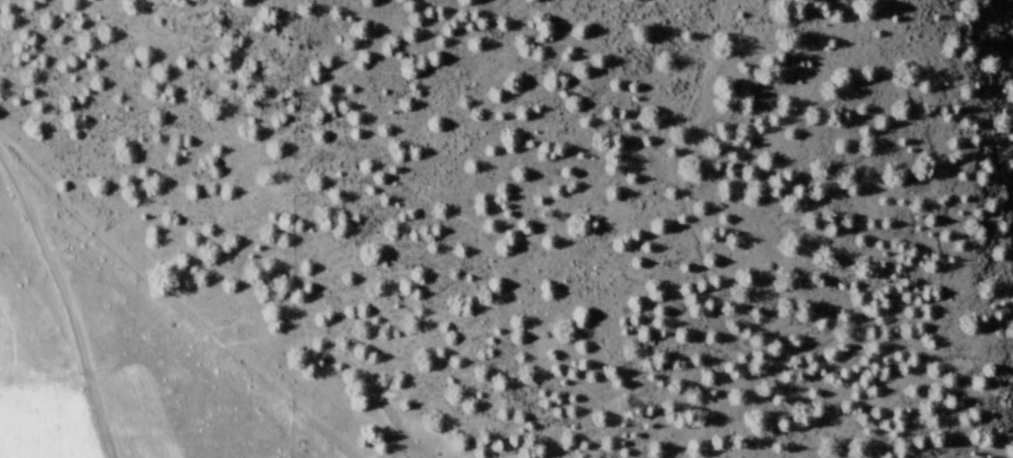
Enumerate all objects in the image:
road: (63, 304)

